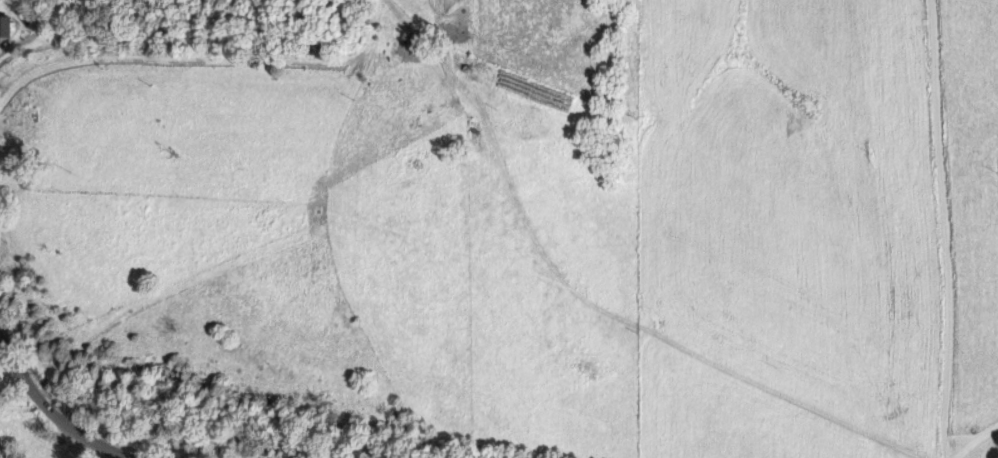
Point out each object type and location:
building: (2, 25)
road: (945, 228)
road: (589, 293)
road: (63, 412)
road: (973, 441)

